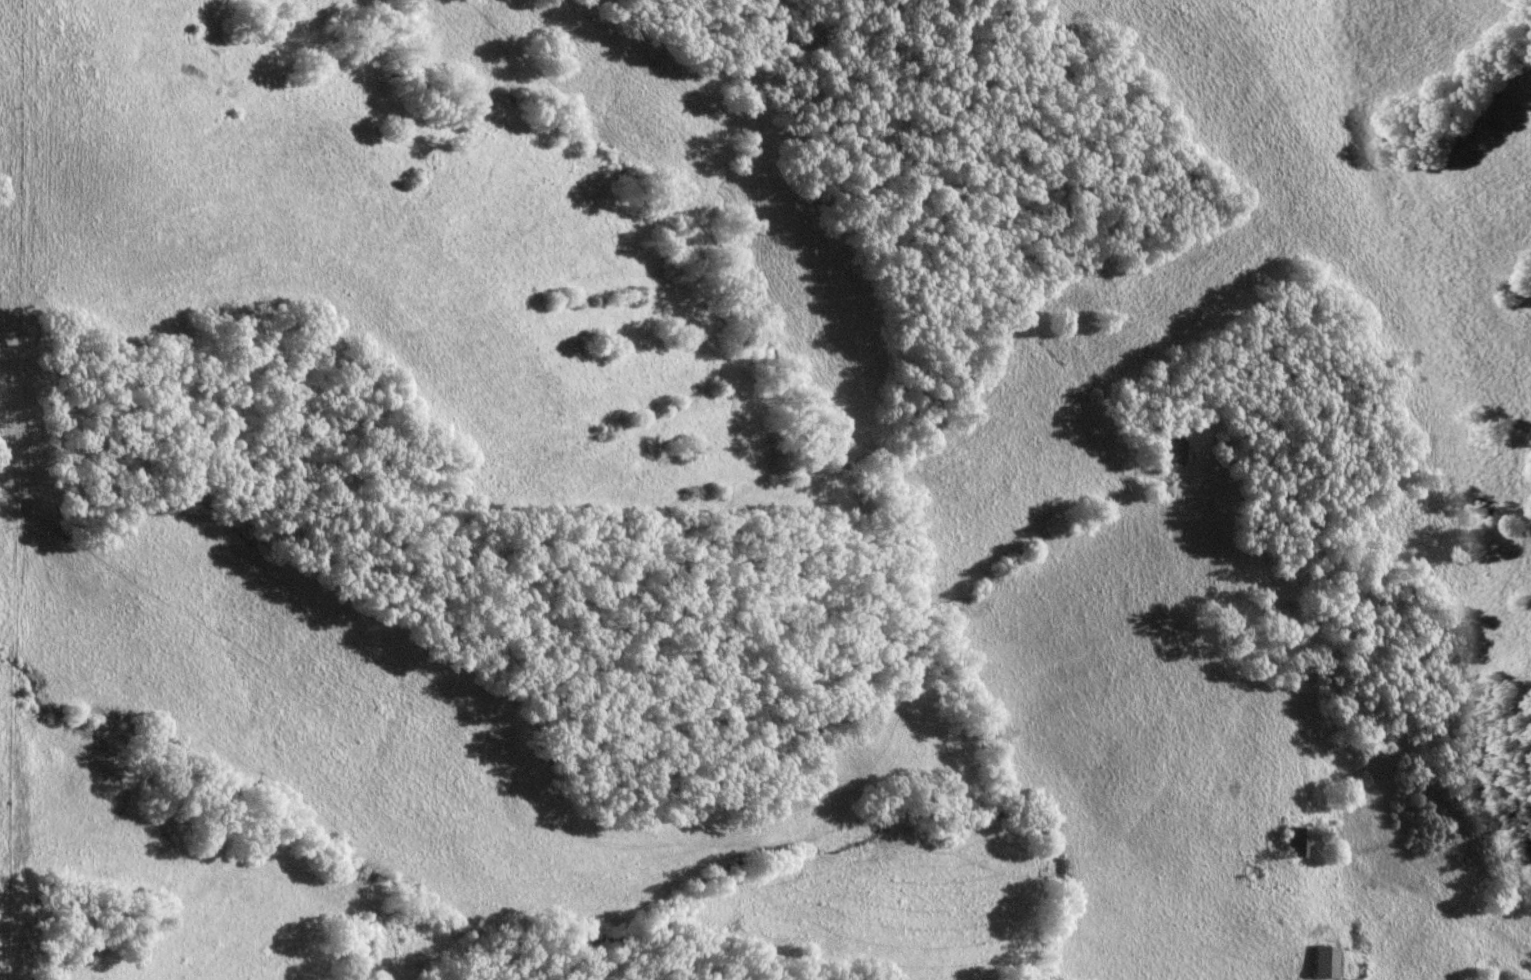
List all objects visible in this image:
building: (1293, 841)
building: (1324, 962)

